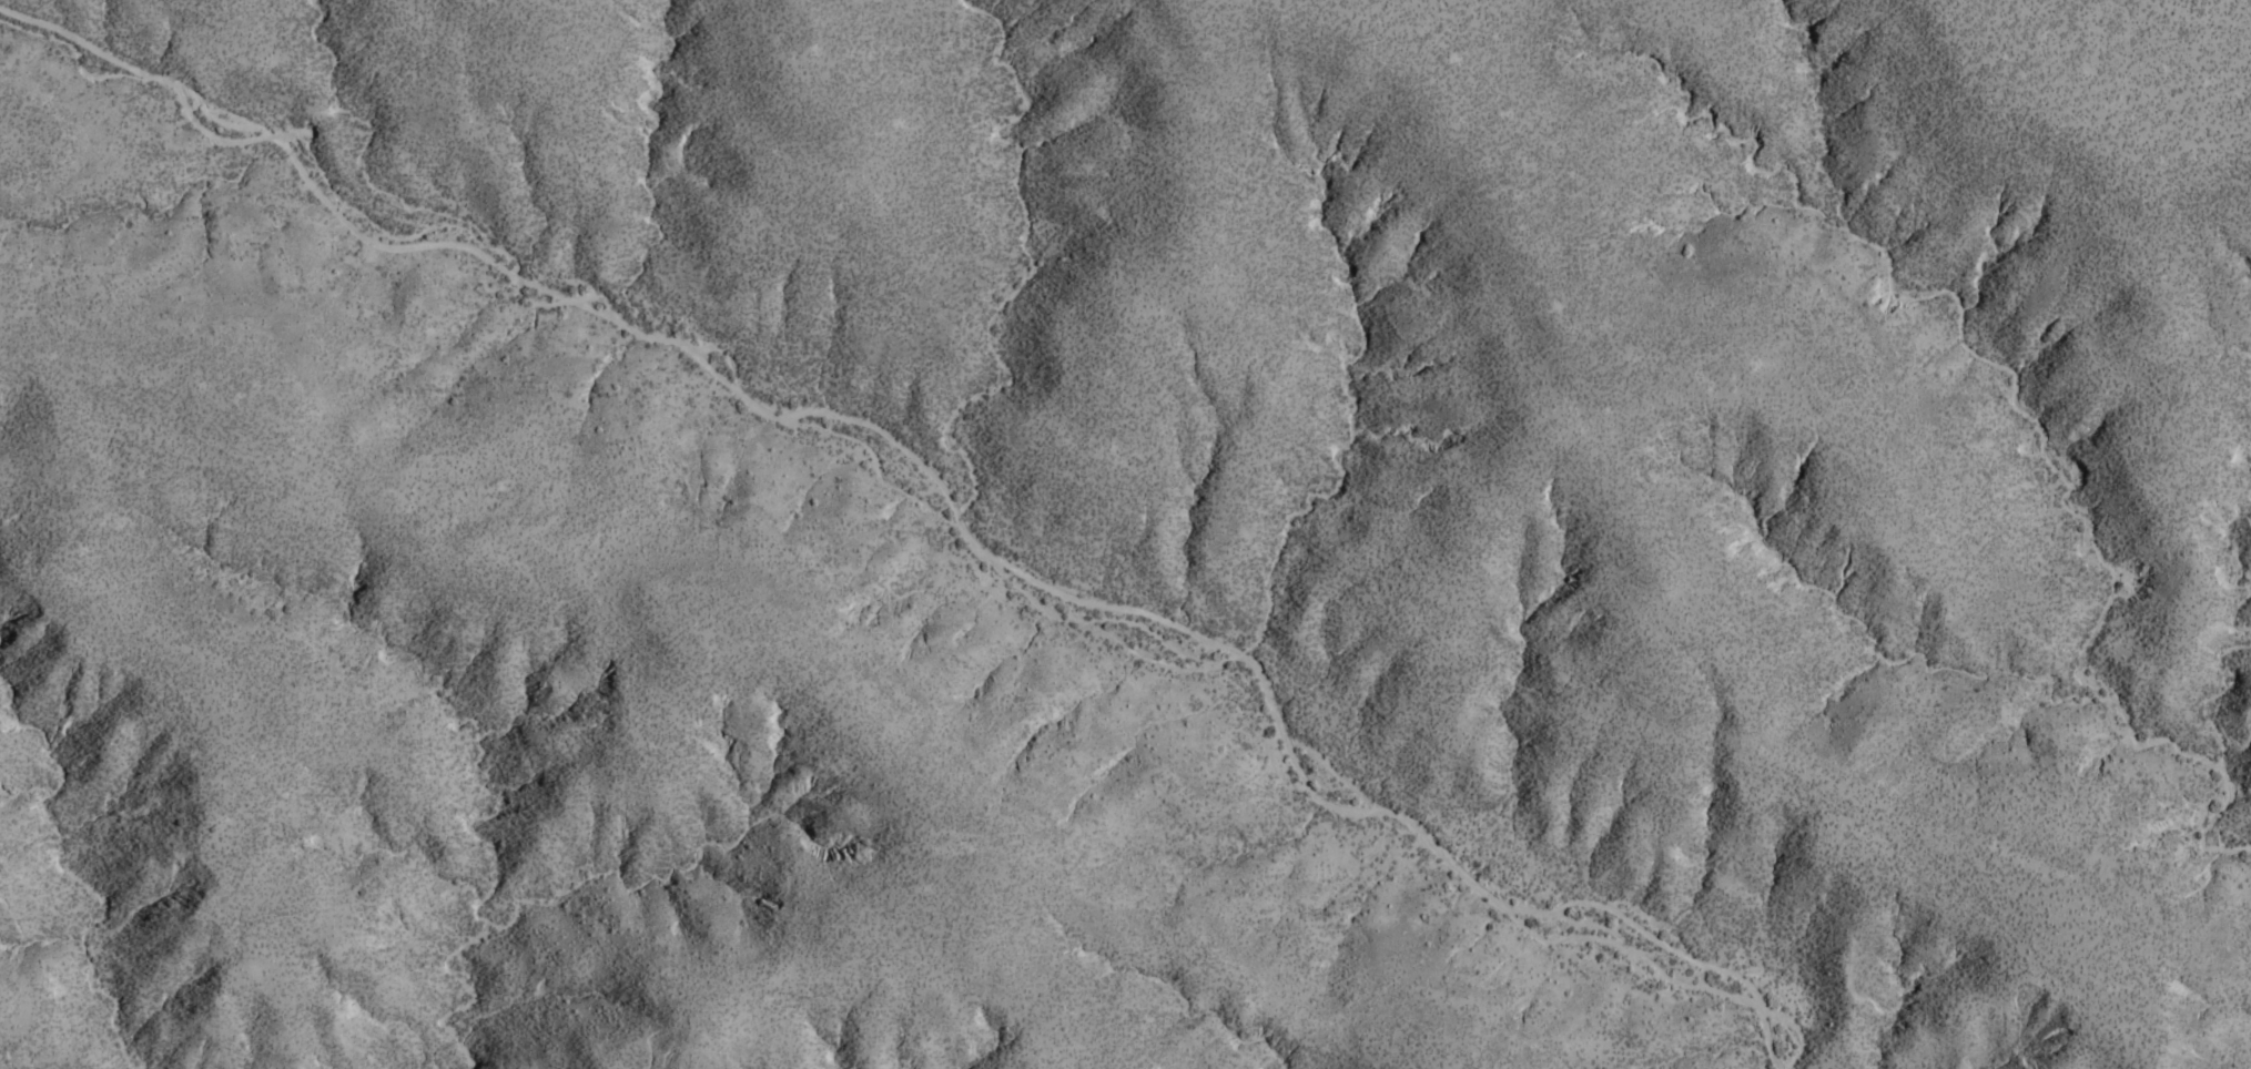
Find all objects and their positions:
road: (284, 155)

